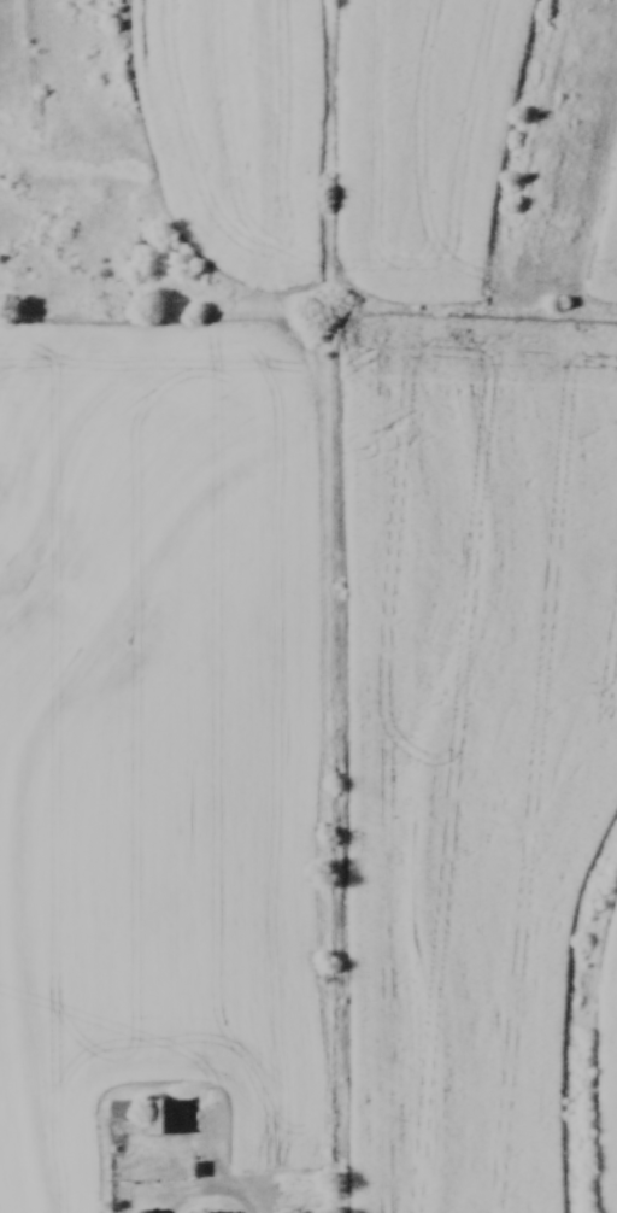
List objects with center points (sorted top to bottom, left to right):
building: (168, 1114)
road: (217, 1197)
building: (145, 1209)
building: (211, 1211)

